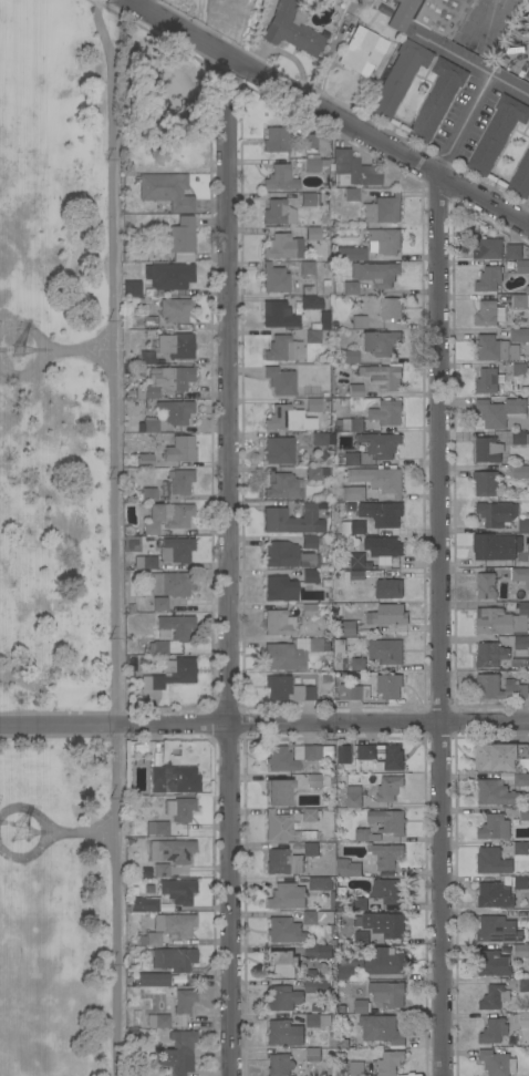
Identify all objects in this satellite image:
building: (396, 11)
road: (507, 11)
building: (442, 14)
road: (199, 18)
building: (291, 29)
building: (471, 44)
building: (362, 51)
road: (469, 63)
building: (398, 76)
building: (437, 98)
road: (330, 112)
road: (465, 125)
building: (528, 126)
building: (497, 133)
building: (277, 139)
building: (314, 141)
building: (311, 163)
building: (352, 170)
building: (521, 176)
building: (282, 177)
building: (166, 191)
building: (352, 194)
building: (308, 198)
building: (383, 208)
building: (279, 212)
road: (527, 218)
building: (313, 233)
building: (181, 238)
building: (385, 240)
building: (280, 246)
building: (487, 248)
building: (353, 253)
building: (518, 256)
building: (307, 267)
building: (376, 273)
building: (180, 275)
building: (274, 278)
building: (489, 278)
building: (131, 288)
building: (351, 288)
building: (153, 289)
building: (313, 300)
building: (520, 300)
building: (173, 308)
building: (391, 309)
building: (488, 312)
building: (278, 314)
building: (359, 321)
building: (145, 322)
road: (27, 330)
building: (313, 335)
building: (520, 335)
building: (380, 342)
building: (176, 345)
building: (283, 348)
building: (491, 348)
power tower: (24, 350)
road: (81, 350)
building: (512, 351)
building: (346, 356)
building: (519, 368)
road: (25, 370)
building: (383, 376)
building: (163, 379)
building: (280, 380)
building: (488, 380)
building: (355, 390)
building: (313, 404)
building: (499, 411)
building: (386, 412)
building: (168, 417)
building: (289, 419)
building: (352, 423)
building: (518, 437)
building: (319, 439)
building: (380, 444)
building: (179, 449)
building: (487, 449)
building: (279, 450)
building: (352, 458)
building: (146, 460)
building: (521, 472)
building: (313, 473)
building: (378, 479)
building: (180, 481)
building: (486, 483)
building: (284, 486)
building: (353, 493)
building: (148, 494)
building: (381, 513)
building: (172, 514)
building: (497, 514)
building: (293, 520)
building: (352, 526)
building: (151, 527)
building: (309, 542)
park: (61, 543)
building: (500, 543)
road: (115, 544)
building: (177, 550)
building: (390, 554)
building: (286, 555)
building: (139, 562)
road: (231, 565)
building: (520, 575)
building: (309, 576)
building: (357, 578)
building: (172, 583)
building: (485, 585)
building: (388, 587)
building: (280, 588)
building: (155, 604)
building: (309, 611)
building: (387, 614)
building: (501, 619)
building: (278, 622)
building: (177, 625)
road: (445, 625)
building: (351, 628)
building: (521, 643)
building: (319, 644)
building: (339, 645)
building: (158, 647)
building: (386, 652)
building: (490, 654)
building: (283, 657)
building: (354, 664)
building: (172, 673)
building: (390, 686)
building: (499, 688)
building: (288, 689)
building: (353, 691)
road: (264, 724)
building: (344, 755)
building: (295, 756)
building: (382, 756)
building: (499, 756)
building: (170, 777)
building: (521, 779)
building: (314, 780)
building: (388, 788)
building: (277, 792)
building: (495, 792)
building: (353, 797)
building: (180, 808)
road: (25, 810)
building: (525, 810)
building: (310, 814)
building: (387, 821)
building: (494, 827)
building: (157, 828)
building: (284, 828)
road: (82, 831)
power tower: (27, 833)
building: (365, 836)
building: (520, 848)
building: (311, 849)
building: (172, 850)
road: (28, 853)
building: (384, 855)
building: (283, 861)
building: (491, 861)
building: (348, 868)
building: (162, 870)
building: (520, 881)
building: (320, 883)
building: (178, 890)
building: (387, 891)
building: (494, 894)
building: (287, 896)
building: (360, 903)
building: (145, 904)
building: (310, 918)
building: (175, 924)
building: (384, 924)
building: (497, 929)
building: (284, 930)
building: (361, 937)
building: (153, 939)
building: (520, 950)
building: (318, 952)
building: (174, 959)
building: (385, 962)
building: (281, 963)
building: (494, 963)
building: (346, 972)
building: (154, 980)
building: (523, 985)
building: (318, 986)
building: (387, 993)
building: (494, 997)
building: (283, 998)
building: (184, 1001)
building: (361, 1006)
building: (523, 1018)
building: (162, 1021)
building: (318, 1021)
building: (381, 1028)
building: (494, 1031)
building: (284, 1033)
building: (178, 1053)
building: (313, 1059)
building: (390, 1063)
building: (497, 1063)
building: (280, 1065)
building: (355, 1068)

